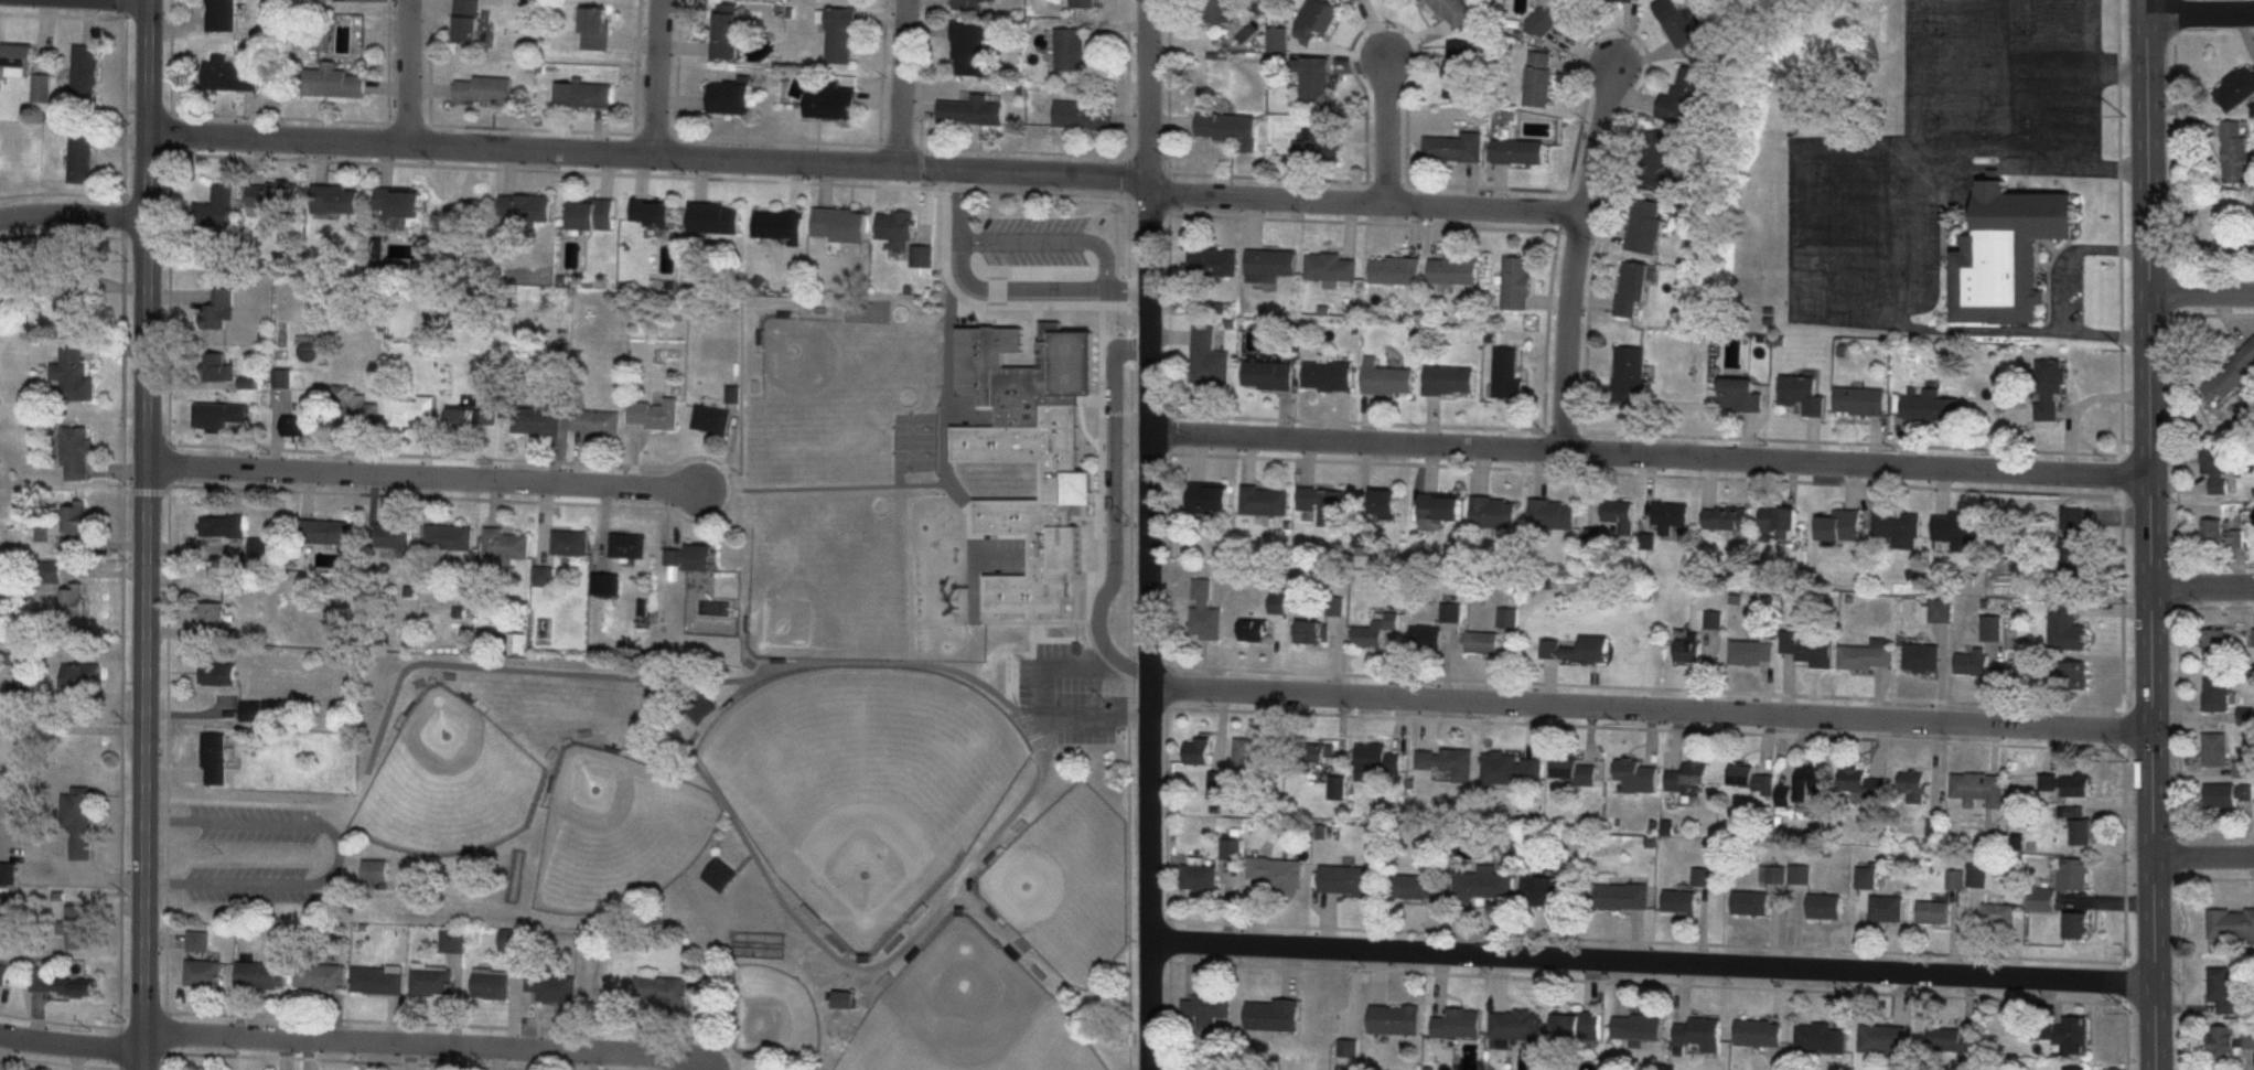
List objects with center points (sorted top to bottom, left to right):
road: (450, 0)
building: (1619, 0)
building: (968, 3)
building: (1083, 3)
building: (1216, 11)
building: (1453, 11)
road: (2200, 12)
building: (222, 13)
building: (1547, 13)
road: (179, 17)
building: (465, 19)
building: (1316, 19)
building: (594, 23)
building: (1679, 25)
building: (723, 31)
building: (839, 34)
road: (634, 35)
building: (968, 45)
building: (1072, 52)
building: (17, 60)
road: (2092, 60)
building: (1458, 68)
building: (230, 69)
road: (411, 71)
building: (85, 72)
road: (659, 77)
building: (332, 78)
building: (1539, 78)
road: (387, 79)
building: (1313, 82)
road: (432, 84)
road: (905, 84)
building: (483, 86)
building: (2235, 86)
building: (41, 87)
building: (583, 92)
road: (2146, 93)
building: (1685, 96)
building: (729, 97)
building: (829, 100)
road: (251, 110)
road: (287, 110)
building: (970, 110)
building: (1080, 116)
road: (2092, 118)
road: (538, 124)
road: (601, 128)
building: (1227, 128)
road: (1387, 130)
road: (785, 132)
building: (1318, 141)
road: (1030, 146)
building: (1453, 147)
building: (1518, 150)
building: (2235, 152)
building: (80, 156)
building: (1656, 157)
road: (868, 165)
road: (1944, 169)
building: (272, 194)
building: (334, 199)
building: (397, 202)
building: (524, 206)
building: (217, 207)
building: (591, 213)
building: (651, 213)
road: (75, 215)
building: (712, 216)
building: (777, 224)
building: (838, 224)
building: (1644, 224)
road: (1807, 231)
building: (902, 235)
road: (1037, 239)
road: (2071, 250)
building: (2007, 252)
road: (1577, 256)
building: (1212, 260)
building: (1268, 264)
building: (1329, 266)
building: (1394, 269)
building: (1452, 269)
building: (1516, 282)
road: (1012, 286)
building: (1631, 288)
road: (2201, 291)
building: (74, 302)
building: (218, 308)
road: (1910, 324)
road: (2106, 332)
building: (1207, 359)
building: (218, 367)
building: (73, 371)
building: (1506, 372)
building: (1267, 374)
building: (1630, 374)
building: (2231, 374)
park: (829, 375)
building: (1325, 375)
building: (1385, 377)
building: (1448, 379)
building: (2050, 381)
building: (1802, 393)
building: (1740, 394)
building: (1859, 399)
building: (1930, 405)
road: (2085, 405)
building: (356, 406)
building: (408, 410)
building: (654, 414)
building: (221, 415)
building: (710, 419)
building: (537, 420)
building: (594, 421)
building: (294, 424)
park: (917, 437)
building: (76, 451)
road: (1650, 453)
building: (1030, 454)
building: (2218, 468)
road: (426, 474)
building: (1207, 496)
building: (1264, 499)
building: (1383, 501)
building: (1322, 503)
building: (1440, 506)
road: (1113, 511)
building: (1493, 511)
building: (1552, 513)
building: (1620, 514)
building: (1725, 516)
building: (76, 517)
building: (1670, 518)
building: (1779, 520)
building: (223, 524)
building: (1838, 525)
building: (1898, 527)
building: (1958, 527)
building: (323, 531)
road: (1152, 534)
building: (2221, 534)
road: (149, 535)
building: (393, 535)
building: (448, 537)
building: (569, 542)
building: (2074, 542)
building: (504, 543)
building: (627, 545)
building: (257, 547)
building: (689, 557)
building: (47, 571)
building: (543, 576)
park: (830, 577)
road: (2202, 585)
building: (72, 598)
road: (1129, 610)
building: (1450, 610)
building: (1942, 610)
building: (210, 611)
building: (1204, 611)
building: (1714, 619)
building: (2067, 627)
building: (1994, 628)
road: (2150, 628)
building: (1253, 629)
building: (1375, 630)
building: (1311, 631)
building: (1426, 636)
building: (2215, 640)
building: (1482, 642)
building: (1688, 646)
building: (1808, 648)
building: (1576, 649)
building: (1752, 651)
building: (1868, 655)
building: (1923, 657)
building: (1973, 661)
road: (405, 667)
building: (217, 673)
building: (82, 675)
building: (2075, 675)
building: (2218, 694)
building: (34, 695)
building: (699, 705)
road: (1044, 707)
road: (1653, 707)
building: (251, 709)
building: (2217, 748)
building: (1199, 750)
building: (1257, 751)
building: (1314, 755)
building: (1371, 758)
building: (215, 759)
building: (1447, 761)
building: (2243, 767)
building: (1512, 769)
building: (1571, 770)
building: (1635, 774)
building: (1687, 777)
building: (1751, 779)
park: (446, 780)
park: (862, 780)
building: (1810, 780)
building: (1864, 781)
building: (2068, 784)
building: (1217, 785)
building: (1914, 785)
building: (1338, 788)
building: (1981, 788)
building: (2231, 794)
building: (78, 820)
park: (614, 827)
building: (2083, 832)
road: (340, 849)
building: (1231, 849)
road: (2203, 853)
road: (762, 857)
building: (374, 870)
building: (9, 873)
building: (1278, 874)
building: (2075, 874)
building: (1978, 875)
building: (1867, 877)
building: (1200, 878)
building: (1956, 879)
building: (1345, 881)
park: (1066, 882)
building: (1483, 885)
building: (1416, 886)
building: (1547, 891)
building: (1620, 897)
building: (2046, 900)
building: (1681, 901)
building: (1751, 902)
building: (1825, 906)
building: (1887, 908)
building: (1933, 912)
building: (1999, 916)
building: (2231, 923)
building: (77, 927)
building: (2078, 927)
building: (512, 940)
building: (196, 941)
road: (1653, 960)
building: (3, 973)
building: (203, 973)
building: (260, 974)
building: (321, 976)
building: (377, 980)
building: (431, 981)
building: (492, 983)
building: (61, 984)
building: (550, 984)
building: (661, 989)
building: (2223, 989)
building: (844, 999)
building: (1205, 1009)
park: (772, 1012)
park: (960, 1013)
building: (1271, 1015)
building: (1394, 1018)
building: (1457, 1023)
building: (1515, 1025)
building: (1576, 1026)
building: (1636, 1027)
building: (1758, 1032)
building: (1699, 1034)
building: (2070, 1036)
building: (1821, 1038)
building: (1882, 1038)
building: (2250, 1038)
building: (1949, 1040)
building: (2224, 1042)
road: (74, 1044)
road: (426, 1044)
building: (2075, 1068)

